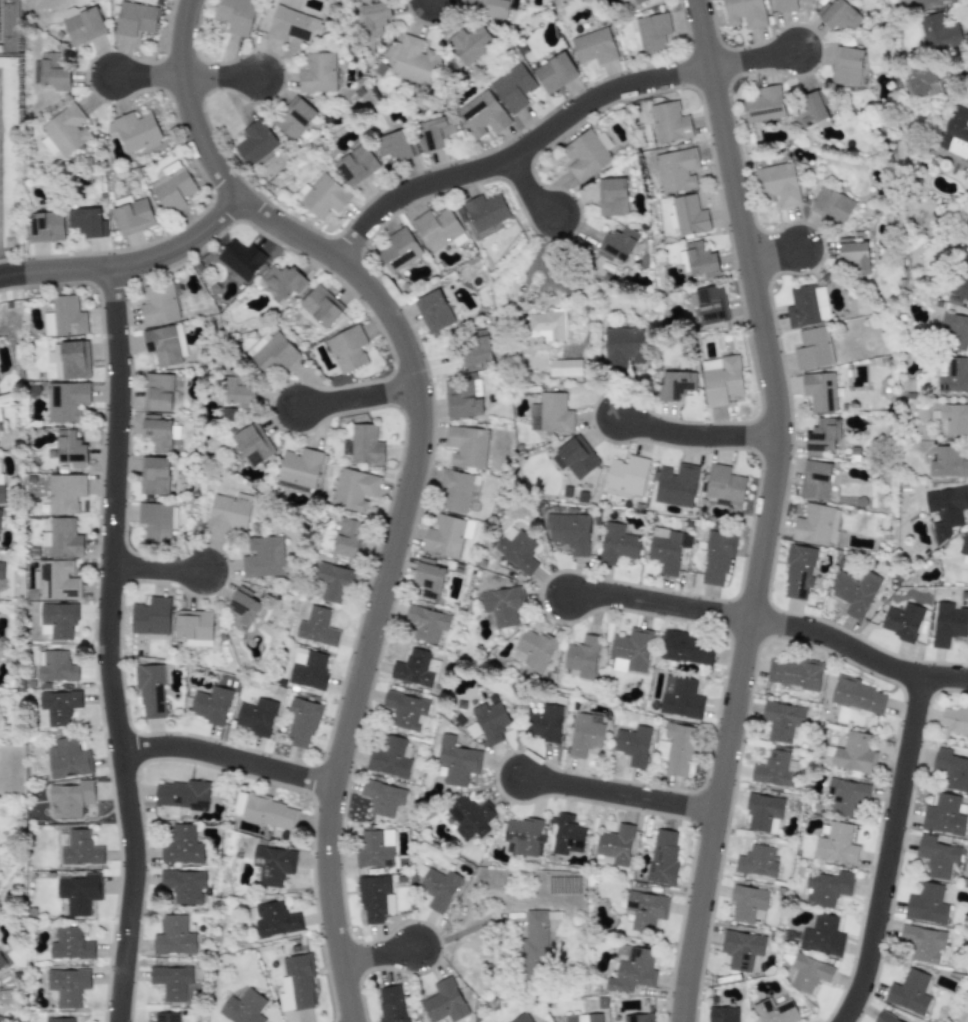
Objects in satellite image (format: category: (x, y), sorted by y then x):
building: (638, 1)
building: (931, 2)
building: (785, 5)
building: (499, 7)
building: (743, 13)
building: (236, 15)
building: (838, 15)
building: (374, 18)
building: (134, 19)
building: (294, 25)
power substation: (10, 26)
building: (84, 26)
building: (939, 32)
building: (469, 44)
building: (594, 46)
road: (751, 59)
building: (414, 61)
building: (846, 66)
building: (52, 72)
building: (317, 73)
building: (555, 73)
road: (146, 76)
road: (219, 76)
building: (922, 82)
building: (513, 88)
building: (764, 104)
building: (809, 109)
building: (481, 116)
building: (295, 118)
building: (669, 122)
building: (65, 131)
building: (136, 132)
building: (435, 132)
building: (955, 133)
building: (255, 142)
building: (394, 147)
building: (12, 152)
road: (514, 152)
building: (585, 155)
building: (356, 165)
building: (676, 170)
building: (777, 184)
building: (172, 186)
road: (526, 188)
building: (323, 197)
building: (612, 197)
building: (832, 205)
building: (485, 211)
building: (687, 215)
building: (133, 216)
building: (87, 222)
building: (45, 227)
building: (438, 228)
building: (399, 250)
building: (853, 251)
road: (771, 253)
building: (241, 259)
building: (698, 259)
road: (129, 262)
building: (282, 281)
building: (960, 286)
building: (158, 304)
building: (710, 304)
building: (806, 306)
building: (319, 307)
building: (433, 311)
building: (64, 317)
building: (547, 325)
building: (954, 331)
building: (165, 345)
building: (623, 347)
building: (812, 348)
building: (347, 349)
building: (476, 349)
building: (272, 352)
building: (70, 359)
building: (565, 368)
building: (951, 375)
building: (721, 380)
building: (674, 385)
building: (237, 389)
building: (819, 391)
road: (355, 397)
building: (461, 400)
building: (66, 401)
building: (551, 413)
building: (0, 414)
building: (953, 419)
building: (159, 433)
road: (695, 435)
building: (822, 436)
building: (253, 444)
building: (363, 445)
building: (466, 446)
building: (70, 448)
building: (577, 456)
building: (947, 463)
road: (412, 468)
building: (299, 469)
building: (626, 474)
building: (154, 476)
building: (815, 480)
building: (723, 484)
building: (676, 485)
building: (354, 489)
building: (455, 491)
building: (2, 493)
building: (65, 493)
road: (767, 510)
building: (945, 510)
building: (227, 514)
building: (0, 519)
building: (157, 521)
building: (812, 524)
building: (833, 528)
building: (569, 532)
building: (444, 536)
building: (61, 538)
building: (348, 538)
building: (617, 544)
building: (517, 549)
building: (665, 549)
building: (964, 549)
building: (263, 557)
building: (717, 558)
building: (1, 569)
road: (155, 569)
building: (798, 571)
building: (429, 578)
building: (57, 580)
building: (332, 582)
building: (854, 592)
road: (656, 602)
building: (502, 606)
building: (242, 610)
building: (151, 616)
building: (58, 620)
building: (902, 621)
building: (427, 623)
building: (947, 624)
building: (194, 627)
building: (317, 627)
road: (106, 645)
building: (687, 648)
building: (533, 650)
building: (630, 650)
road: (857, 652)
building: (582, 656)
building: (56, 666)
building: (308, 668)
building: (415, 668)
building: (793, 673)
building: (150, 690)
building: (857, 695)
building: (680, 697)
building: (210, 705)
building: (57, 707)
building: (406, 710)
building: (256, 717)
building: (491, 719)
building: (781, 720)
building: (955, 720)
building: (301, 722)
building: (545, 723)
building: (584, 735)
building: (633, 745)
building: (676, 749)
building: (854, 753)
building: (389, 757)
building: (67, 758)
road: (225, 758)
building: (457, 761)
building: (773, 769)
building: (951, 769)
building: (182, 794)
road: (617, 794)
building: (846, 795)
building: (383, 798)
building: (70, 799)
building: (270, 813)
building: (763, 813)
building: (943, 816)
building: (470, 817)
building: (567, 835)
building: (520, 836)
building: (615, 844)
building: (836, 844)
building: (182, 845)
building: (81, 848)
building: (375, 849)
road: (887, 850)
building: (937, 856)
building: (663, 857)
building: (756, 861)
building: (272, 864)
building: (184, 885)
building: (438, 888)
building: (826, 888)
building: (79, 892)
building: (375, 898)
building: (747, 903)
building: (926, 904)
building: (645, 910)
building: (275, 919)
building: (822, 935)
building: (174, 937)
building: (923, 942)
building: (534, 943)
building: (69, 944)
building: (741, 949)
road: (376, 954)
building: (2, 963)
building: (631, 969)
building: (809, 973)
building: (171, 981)
building: (296, 983)
building: (67, 987)
building: (909, 992)
building: (444, 1001)
building: (390, 1004)
building: (243, 1007)
building: (775, 1011)
building: (723, 1014)
building: (166, 1017)
building: (638, 1017)
building: (521, 1018)
building: (584, 1018)
building: (884, 1018)
building: (1, 1019)
building: (60, 1020)

